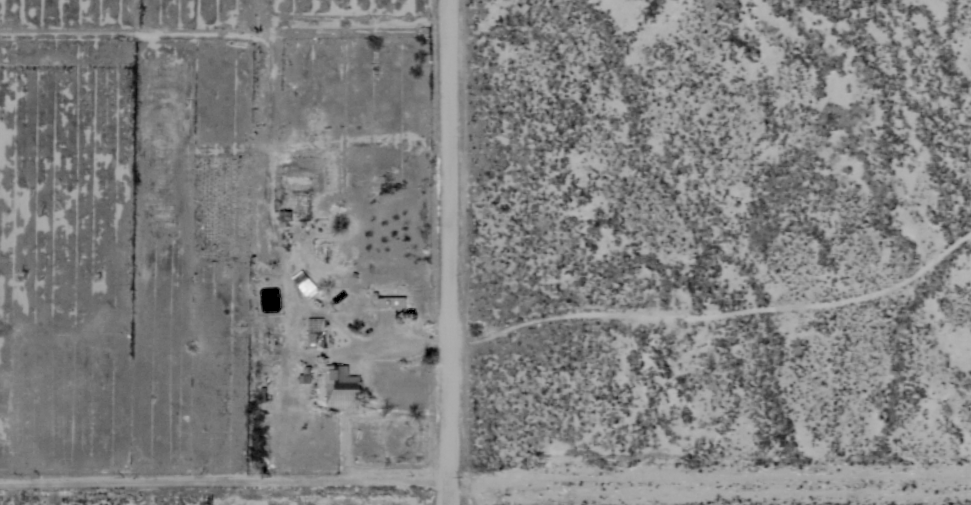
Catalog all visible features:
building: (284, 217)
road: (448, 252)
building: (308, 286)
building: (393, 304)
building: (315, 340)
road: (397, 344)
building: (305, 376)
building: (340, 379)
road: (224, 480)

